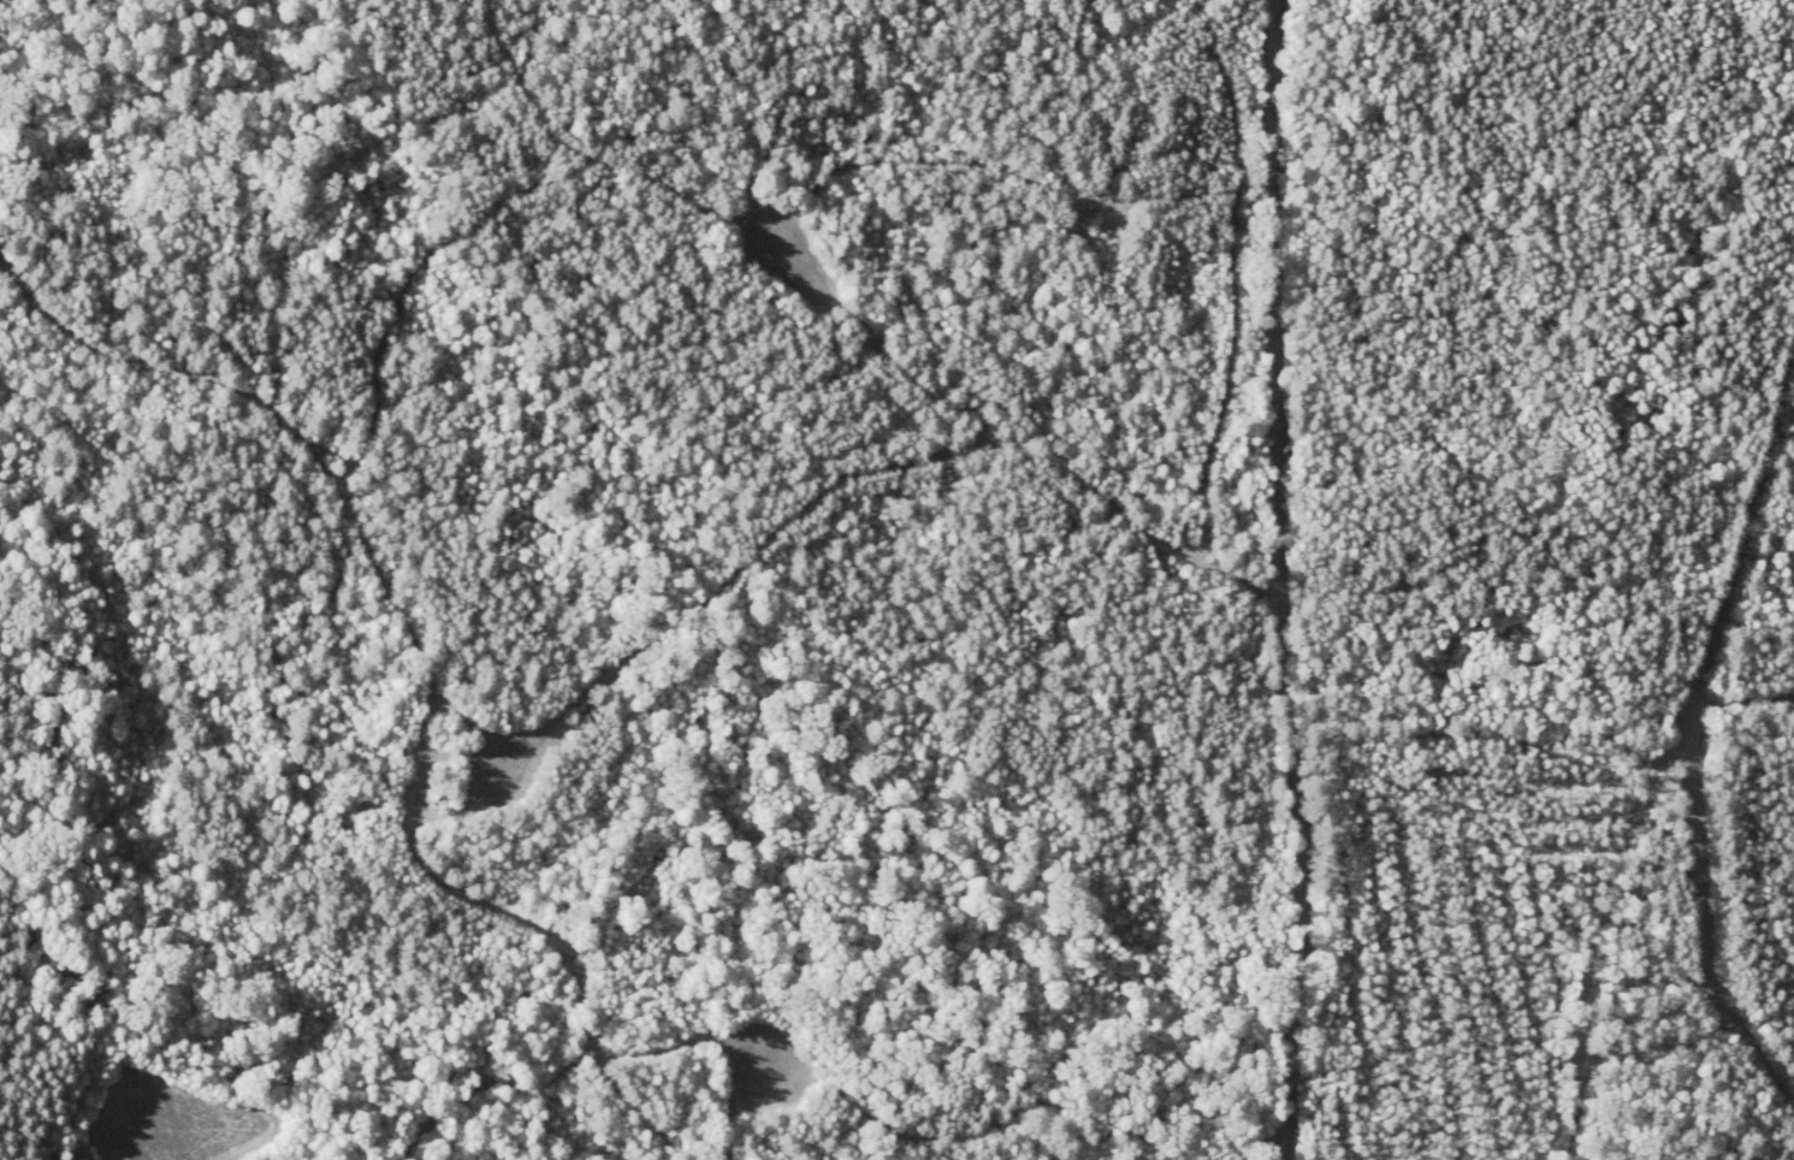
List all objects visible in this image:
road: (1262, 581)

